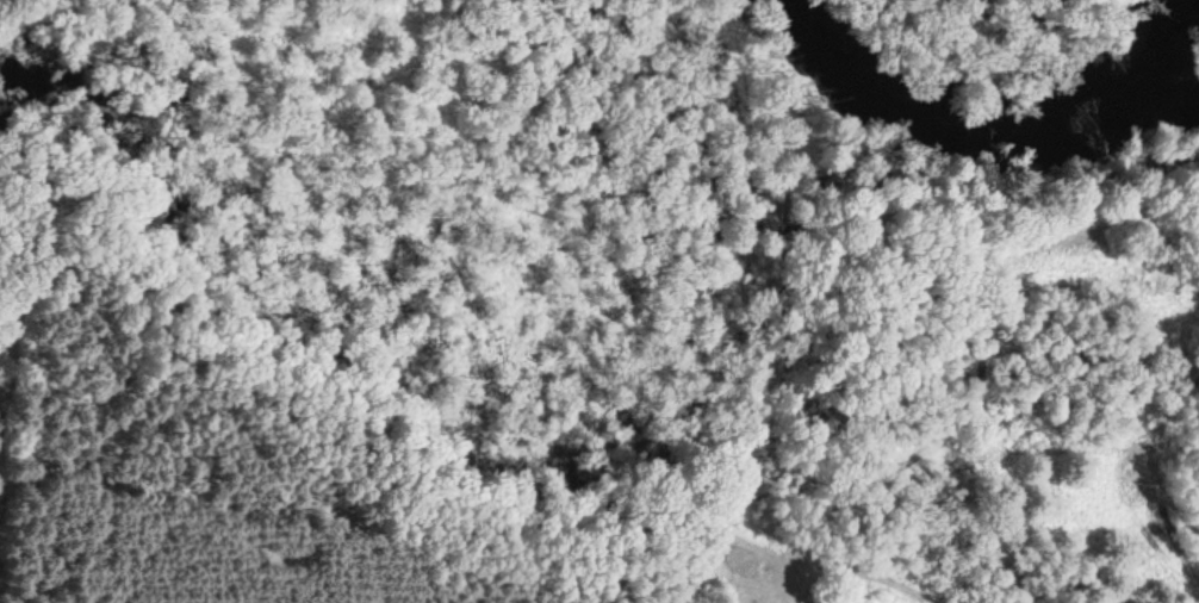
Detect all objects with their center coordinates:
river: (998, 132)

